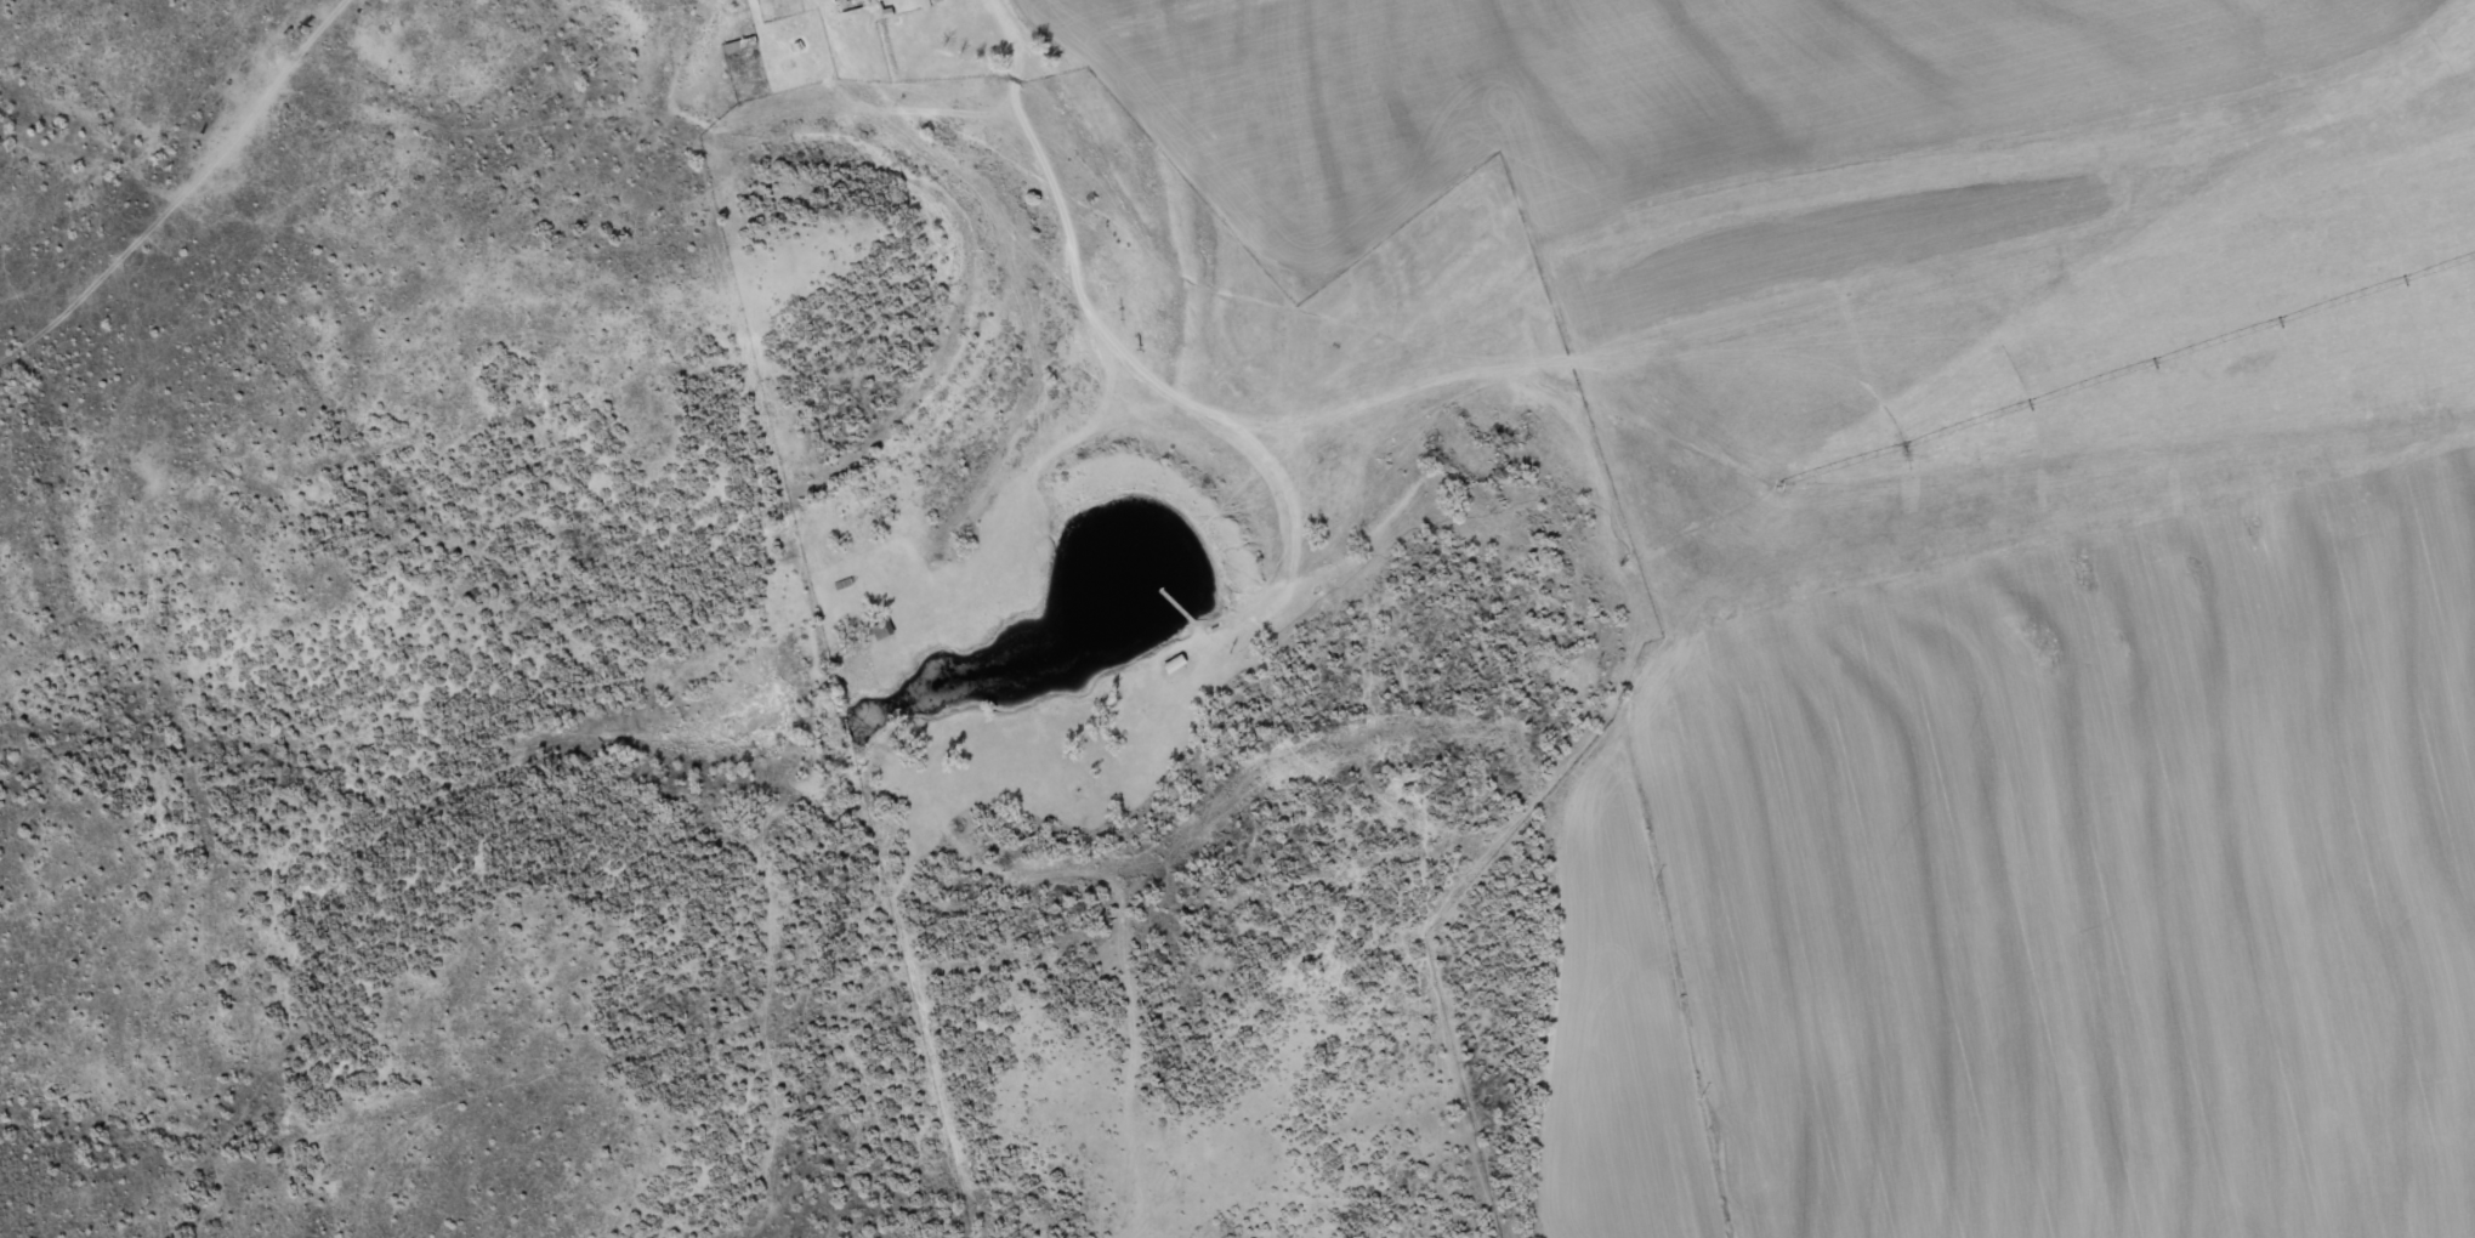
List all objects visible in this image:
road: (174, 193)

